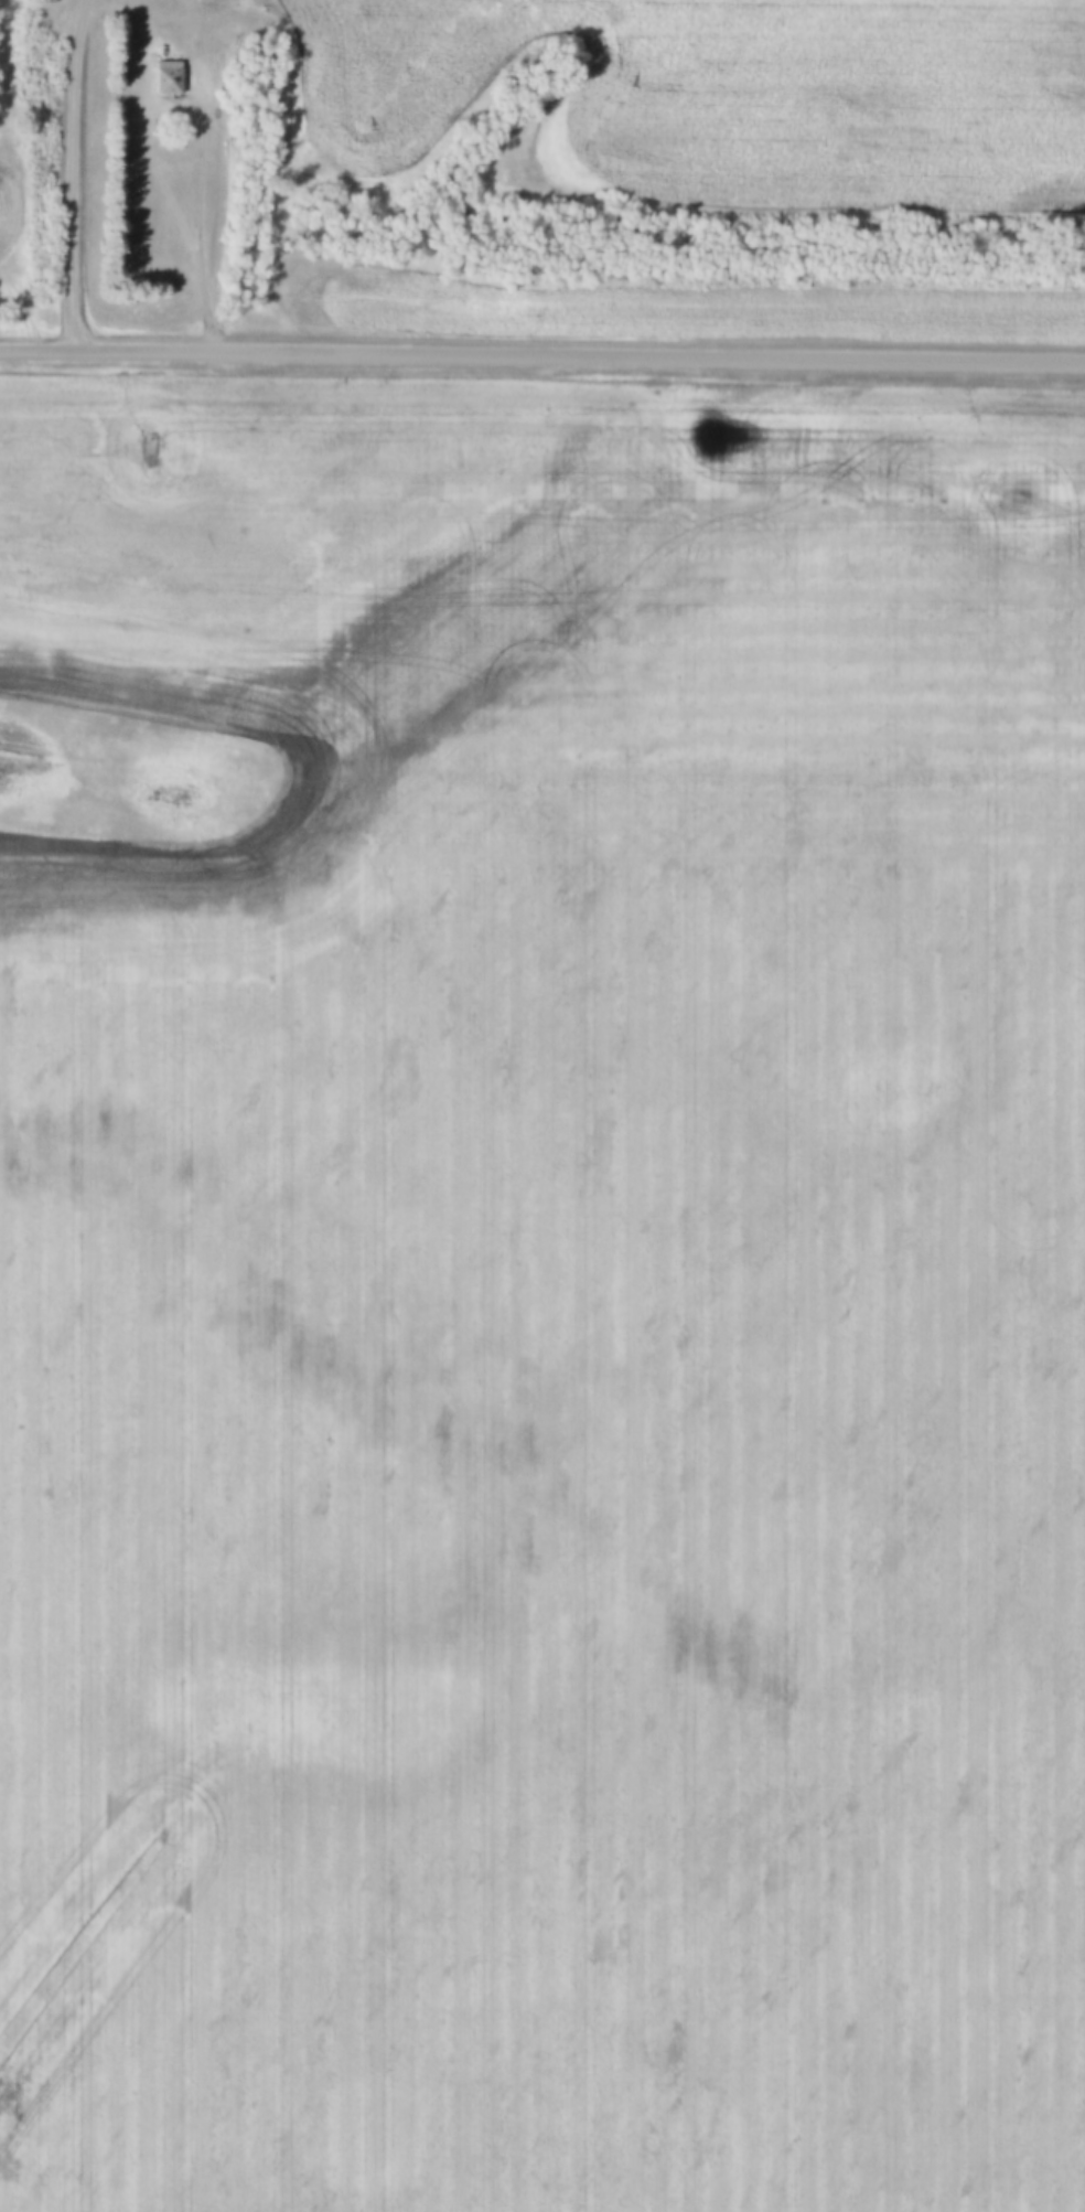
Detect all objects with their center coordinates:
building: (164, 76)
road: (74, 173)
road: (542, 352)

